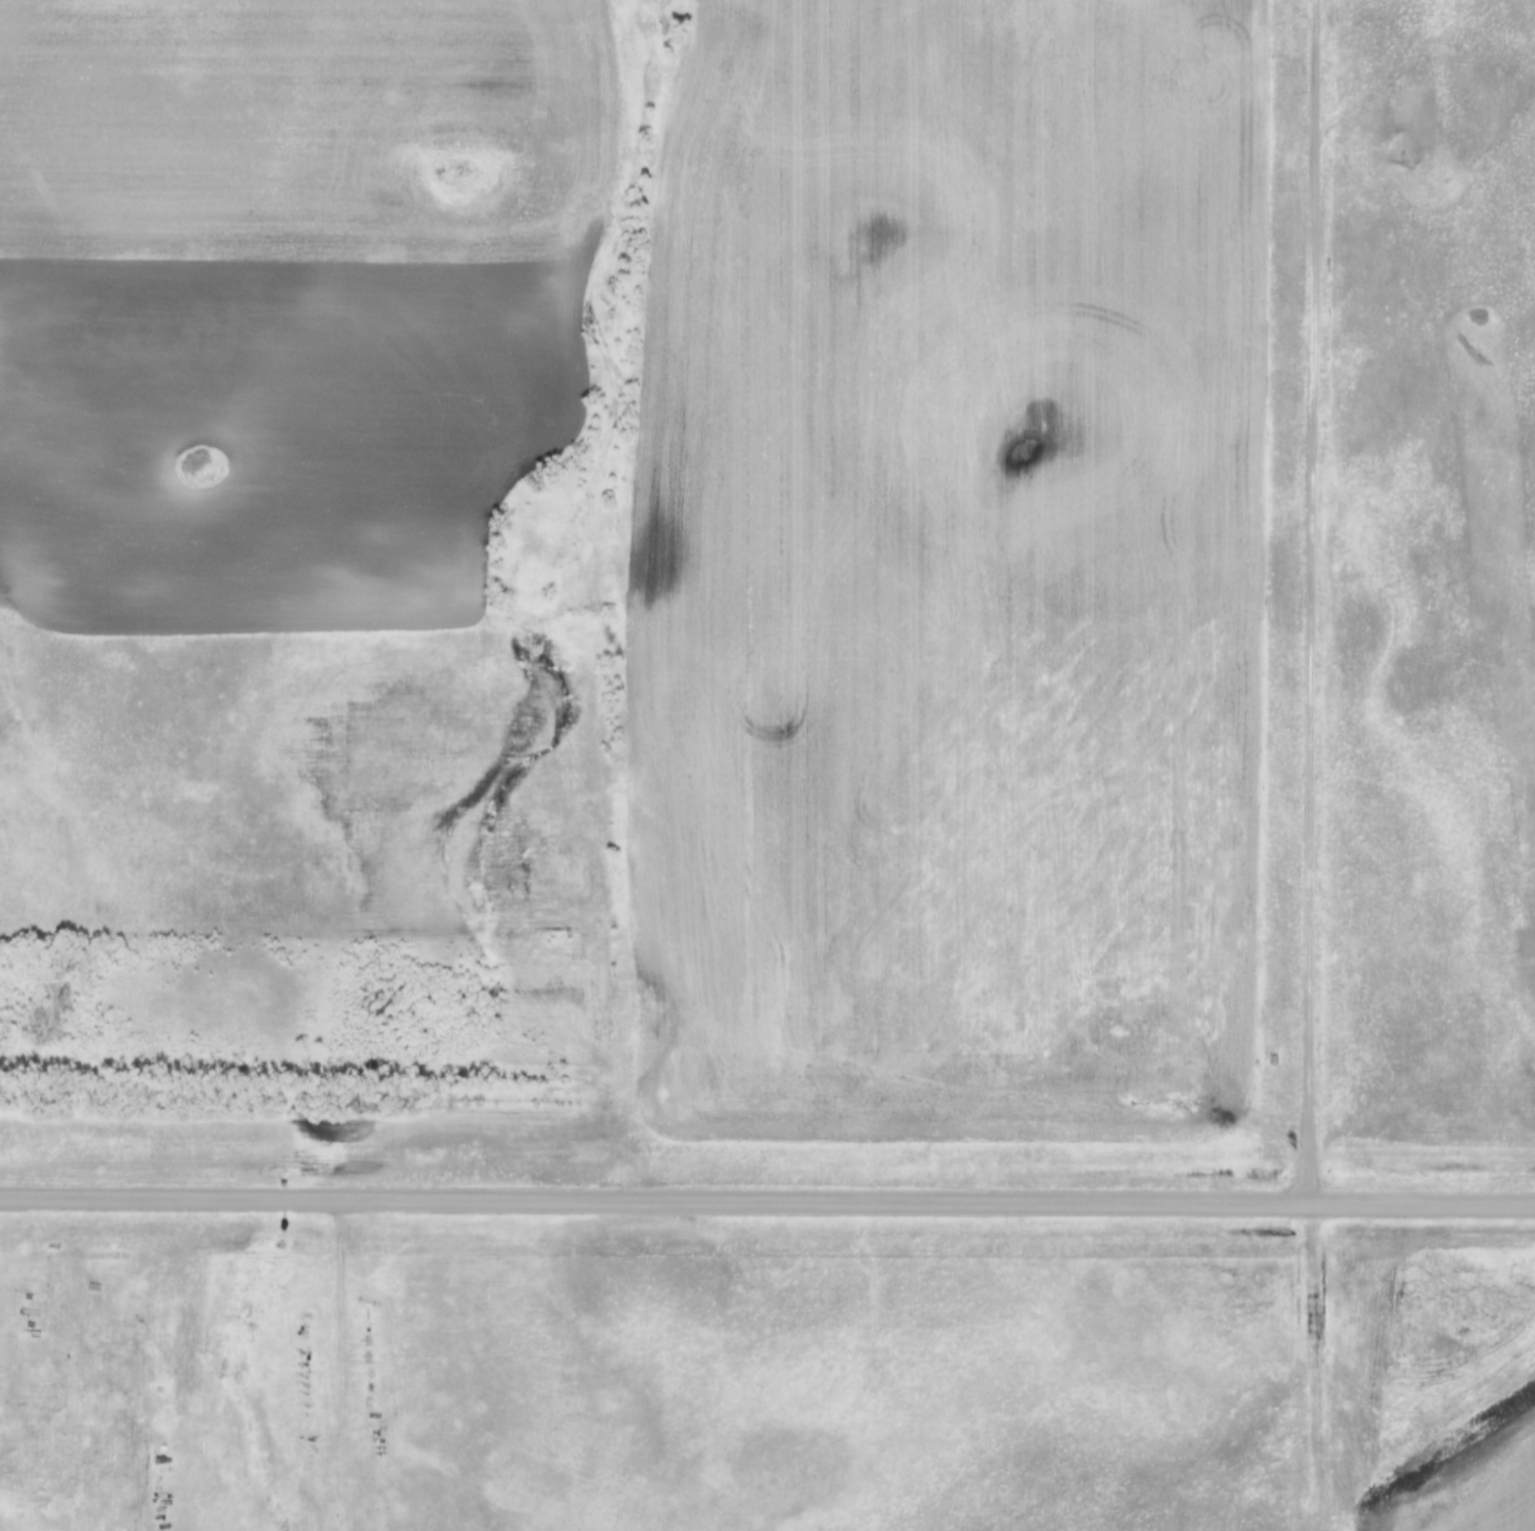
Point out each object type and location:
road: (1311, 605)
road: (767, 1207)

